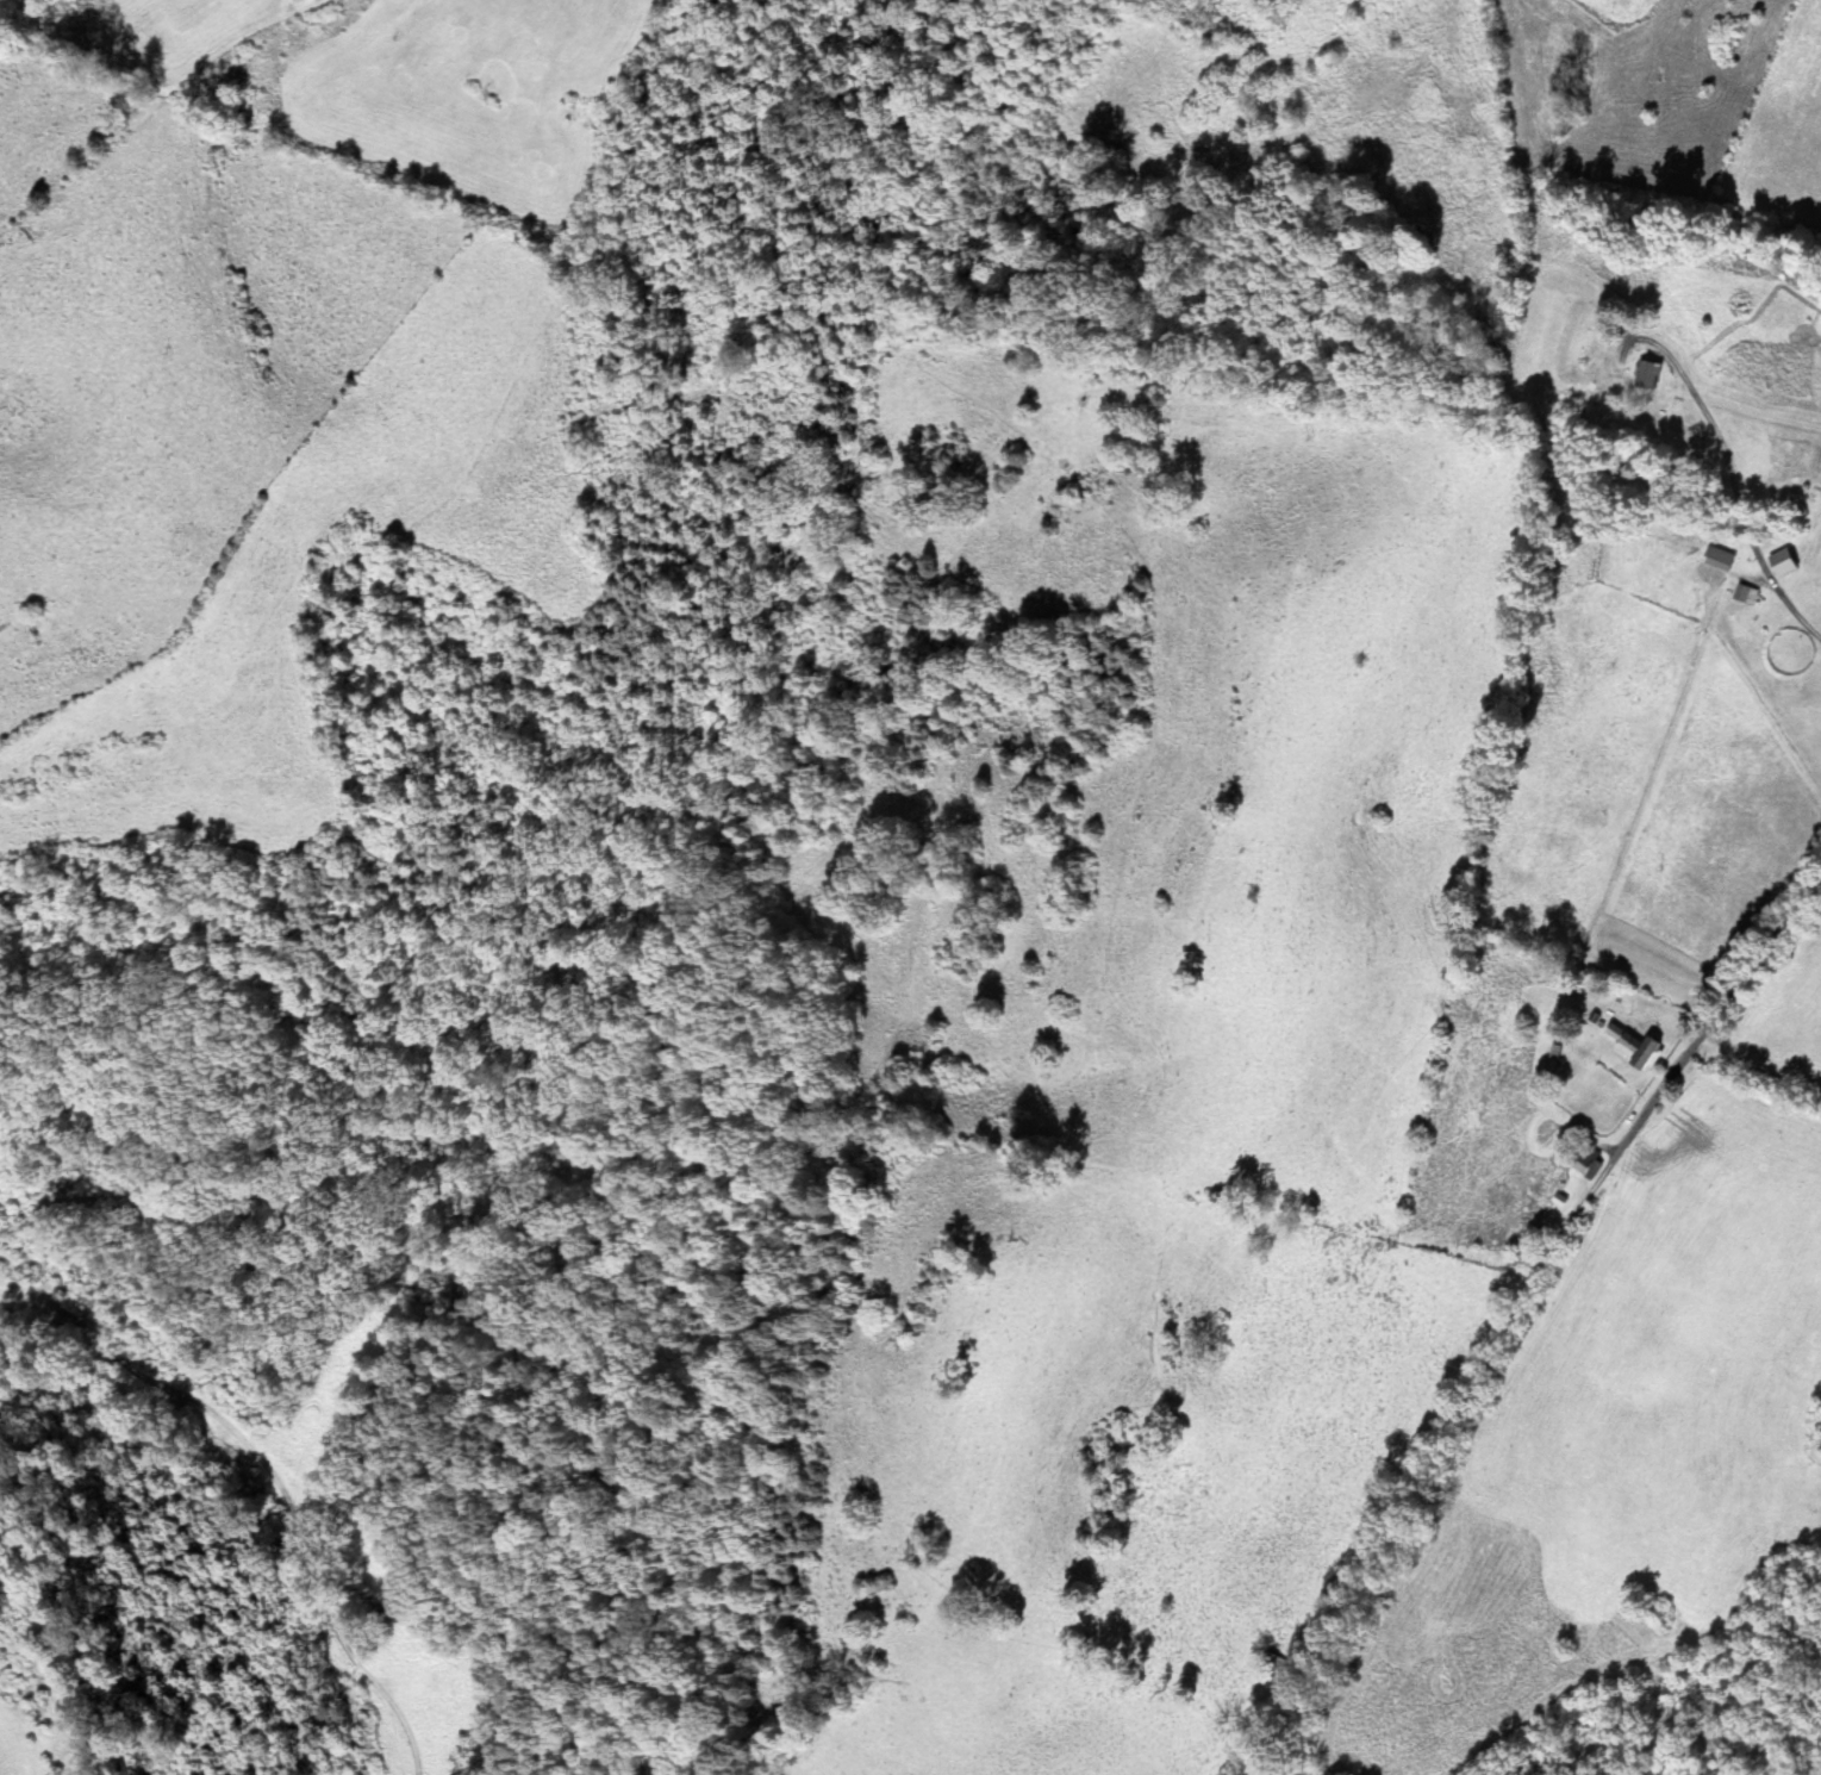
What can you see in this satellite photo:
building: (1642, 375)
building: (1716, 559)
building: (1779, 566)
building: (1742, 596)
road: (1729, 1010)
building: (1633, 1050)
building: (1552, 1059)
building: (1583, 1163)
building: (1271, 1664)

